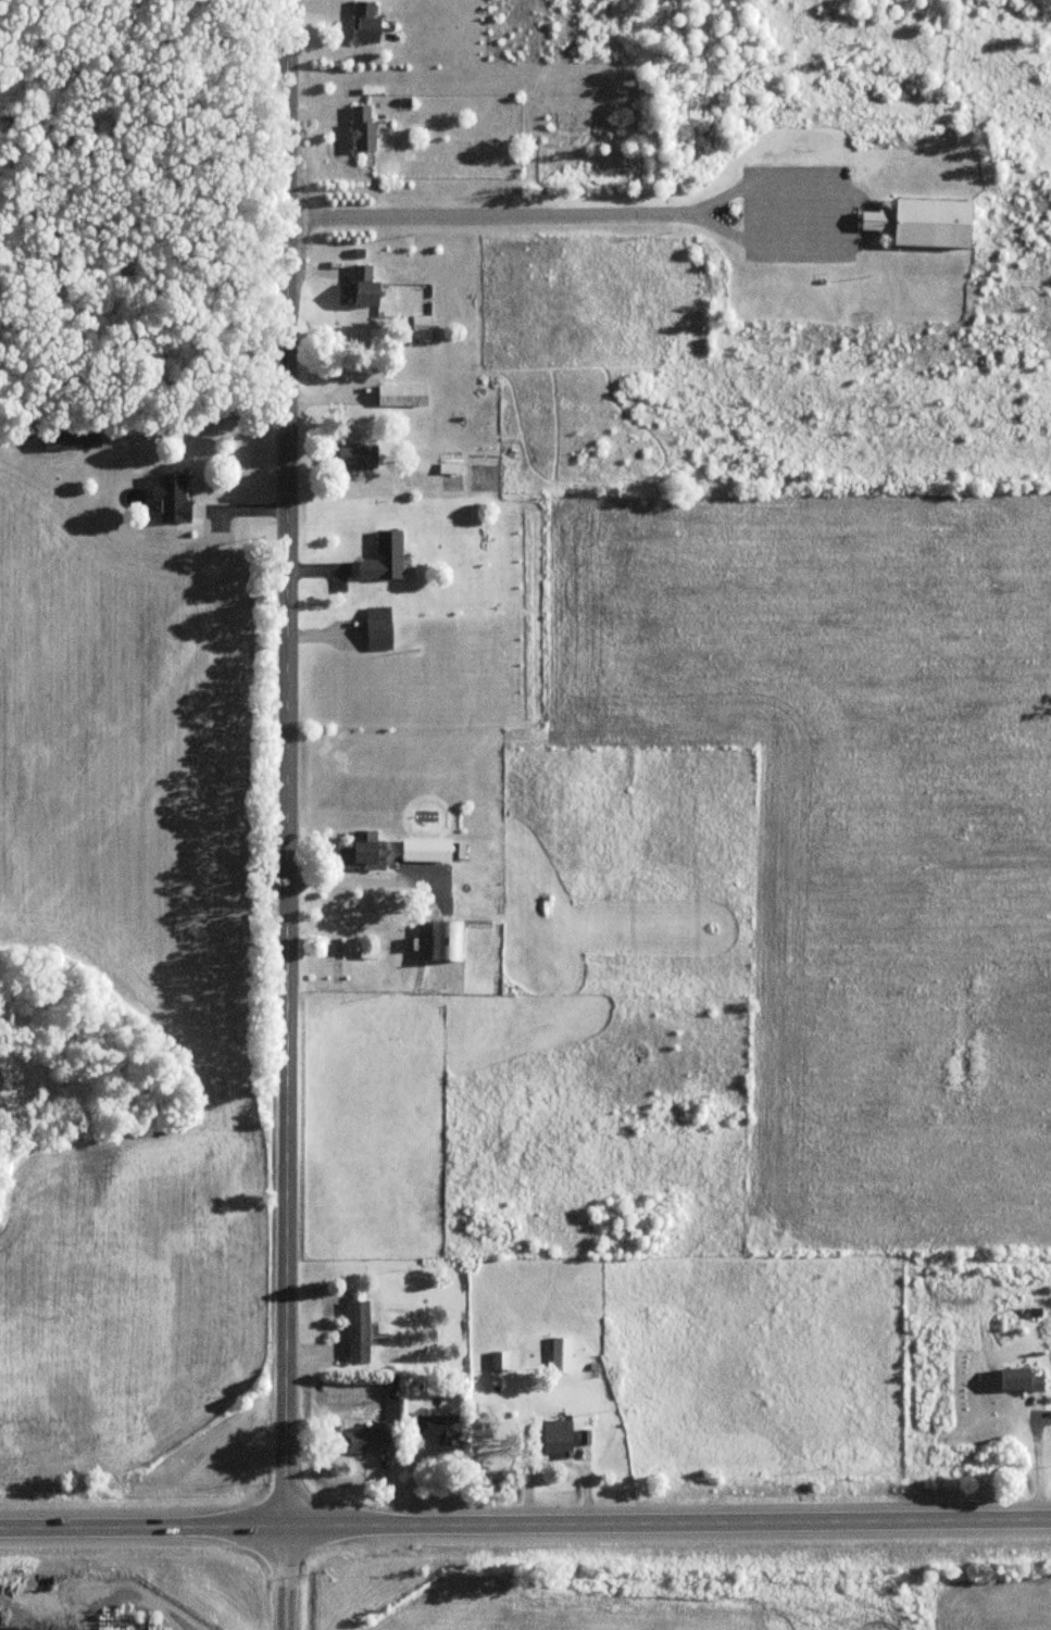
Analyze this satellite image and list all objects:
building: (367, 24)
building: (364, 128)
road: (534, 213)
building: (925, 223)
road: (761, 239)
building: (366, 287)
building: (422, 327)
building: (403, 396)
road: (198, 412)
building: (73, 437)
building: (355, 456)
building: (173, 498)
building: (385, 559)
building: (380, 628)
road: (289, 815)
building: (434, 850)
building: (364, 851)
road: (351, 883)
building: (447, 939)
building: (359, 1330)
road: (311, 1353)
building: (562, 1354)
building: (504, 1359)
building: (437, 1425)
building: (559, 1437)
building: (366, 1439)
road: (525, 1524)
road: (126, 1588)
building: (151, 1627)

